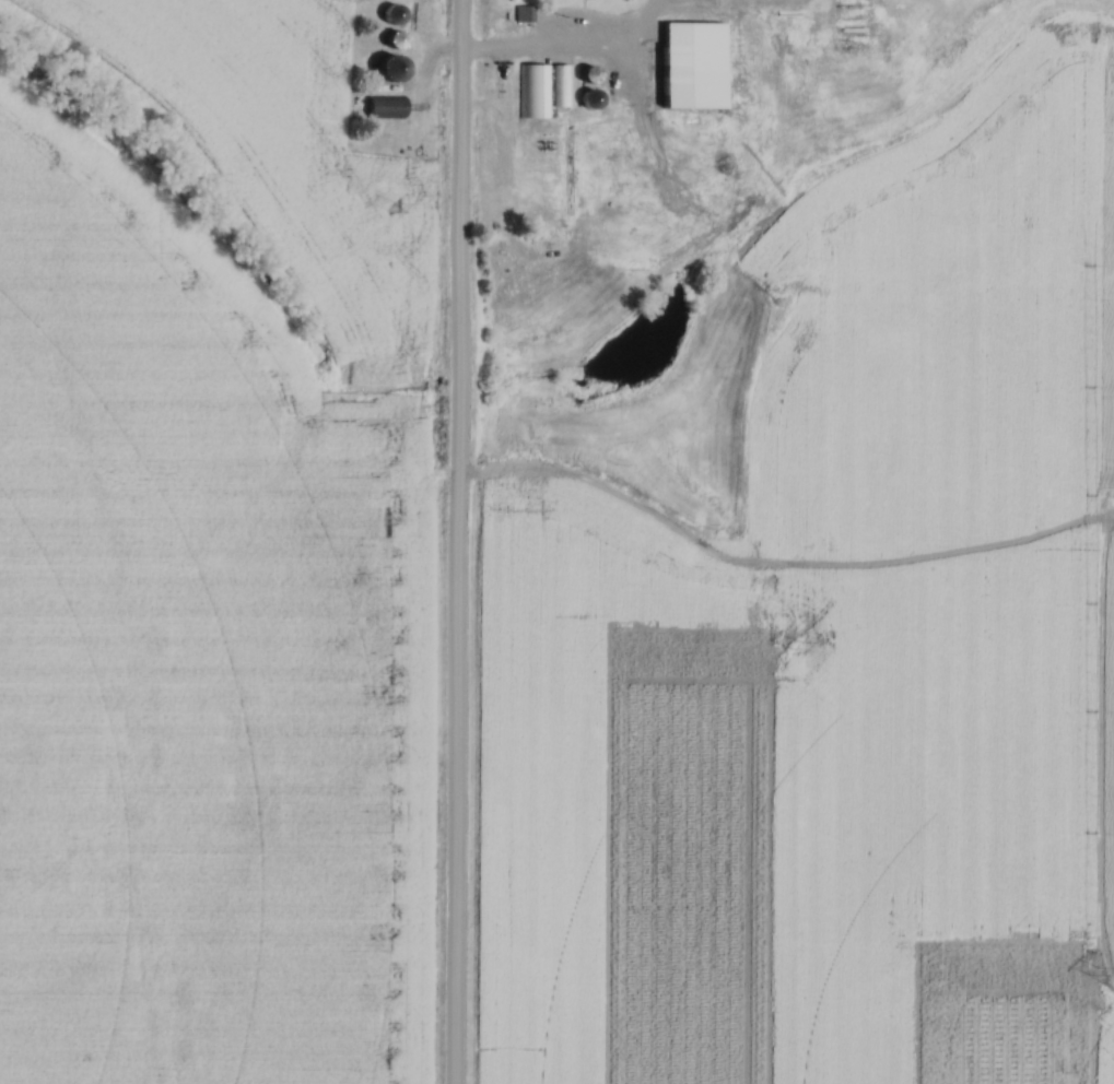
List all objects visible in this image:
building: (681, 3)
building: (524, 15)
road: (563, 43)
building: (695, 66)
building: (395, 68)
building: (563, 85)
building: (535, 91)
building: (388, 107)
power tower: (394, 207)
road: (456, 541)
power tower: (793, 646)
power tower: (1092, 971)

